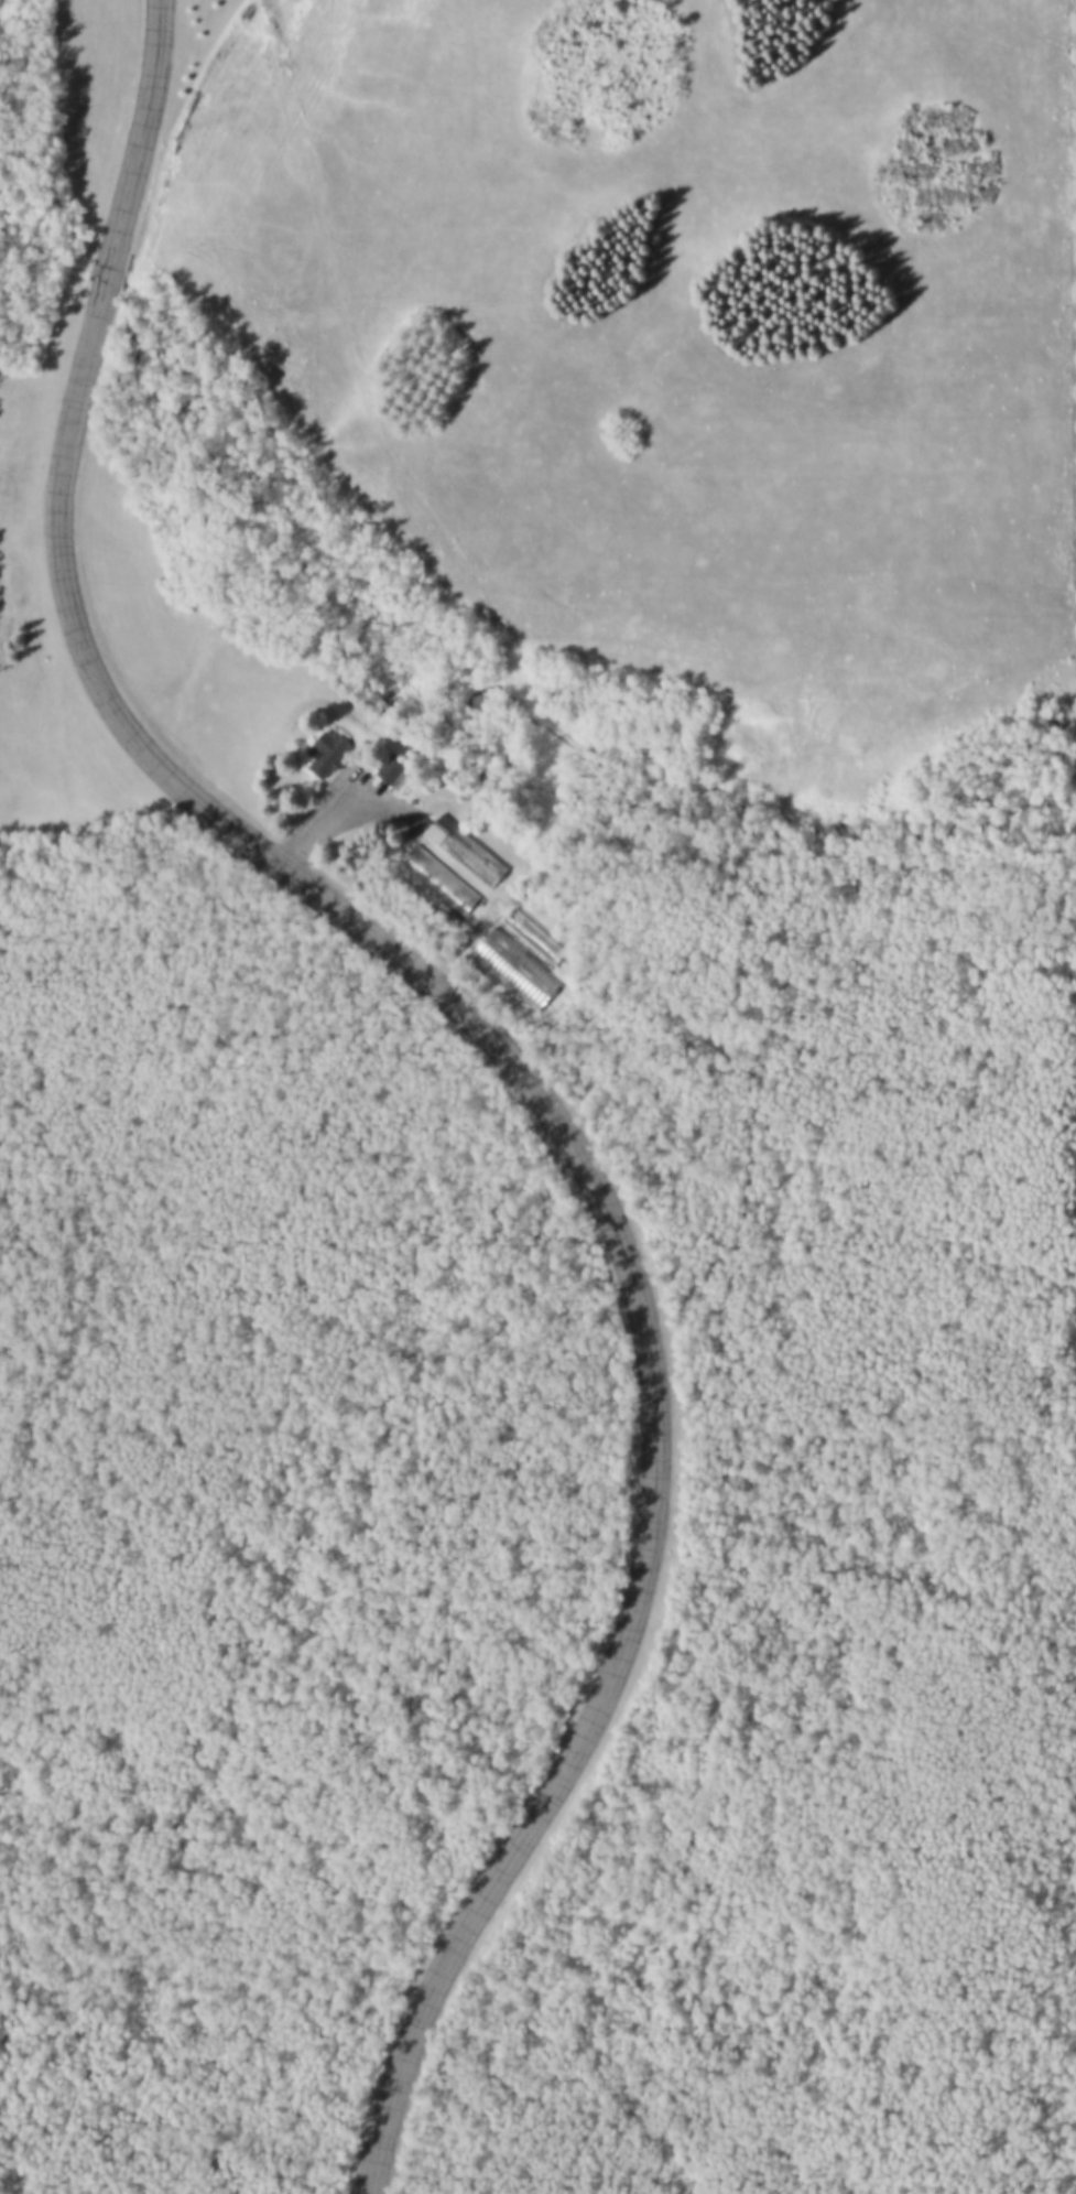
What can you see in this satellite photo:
building: (330, 755)
building: (396, 770)
road: (328, 787)
building: (469, 850)
building: (439, 882)
building: (535, 938)
road: (500, 1046)
park: (537, 1096)

